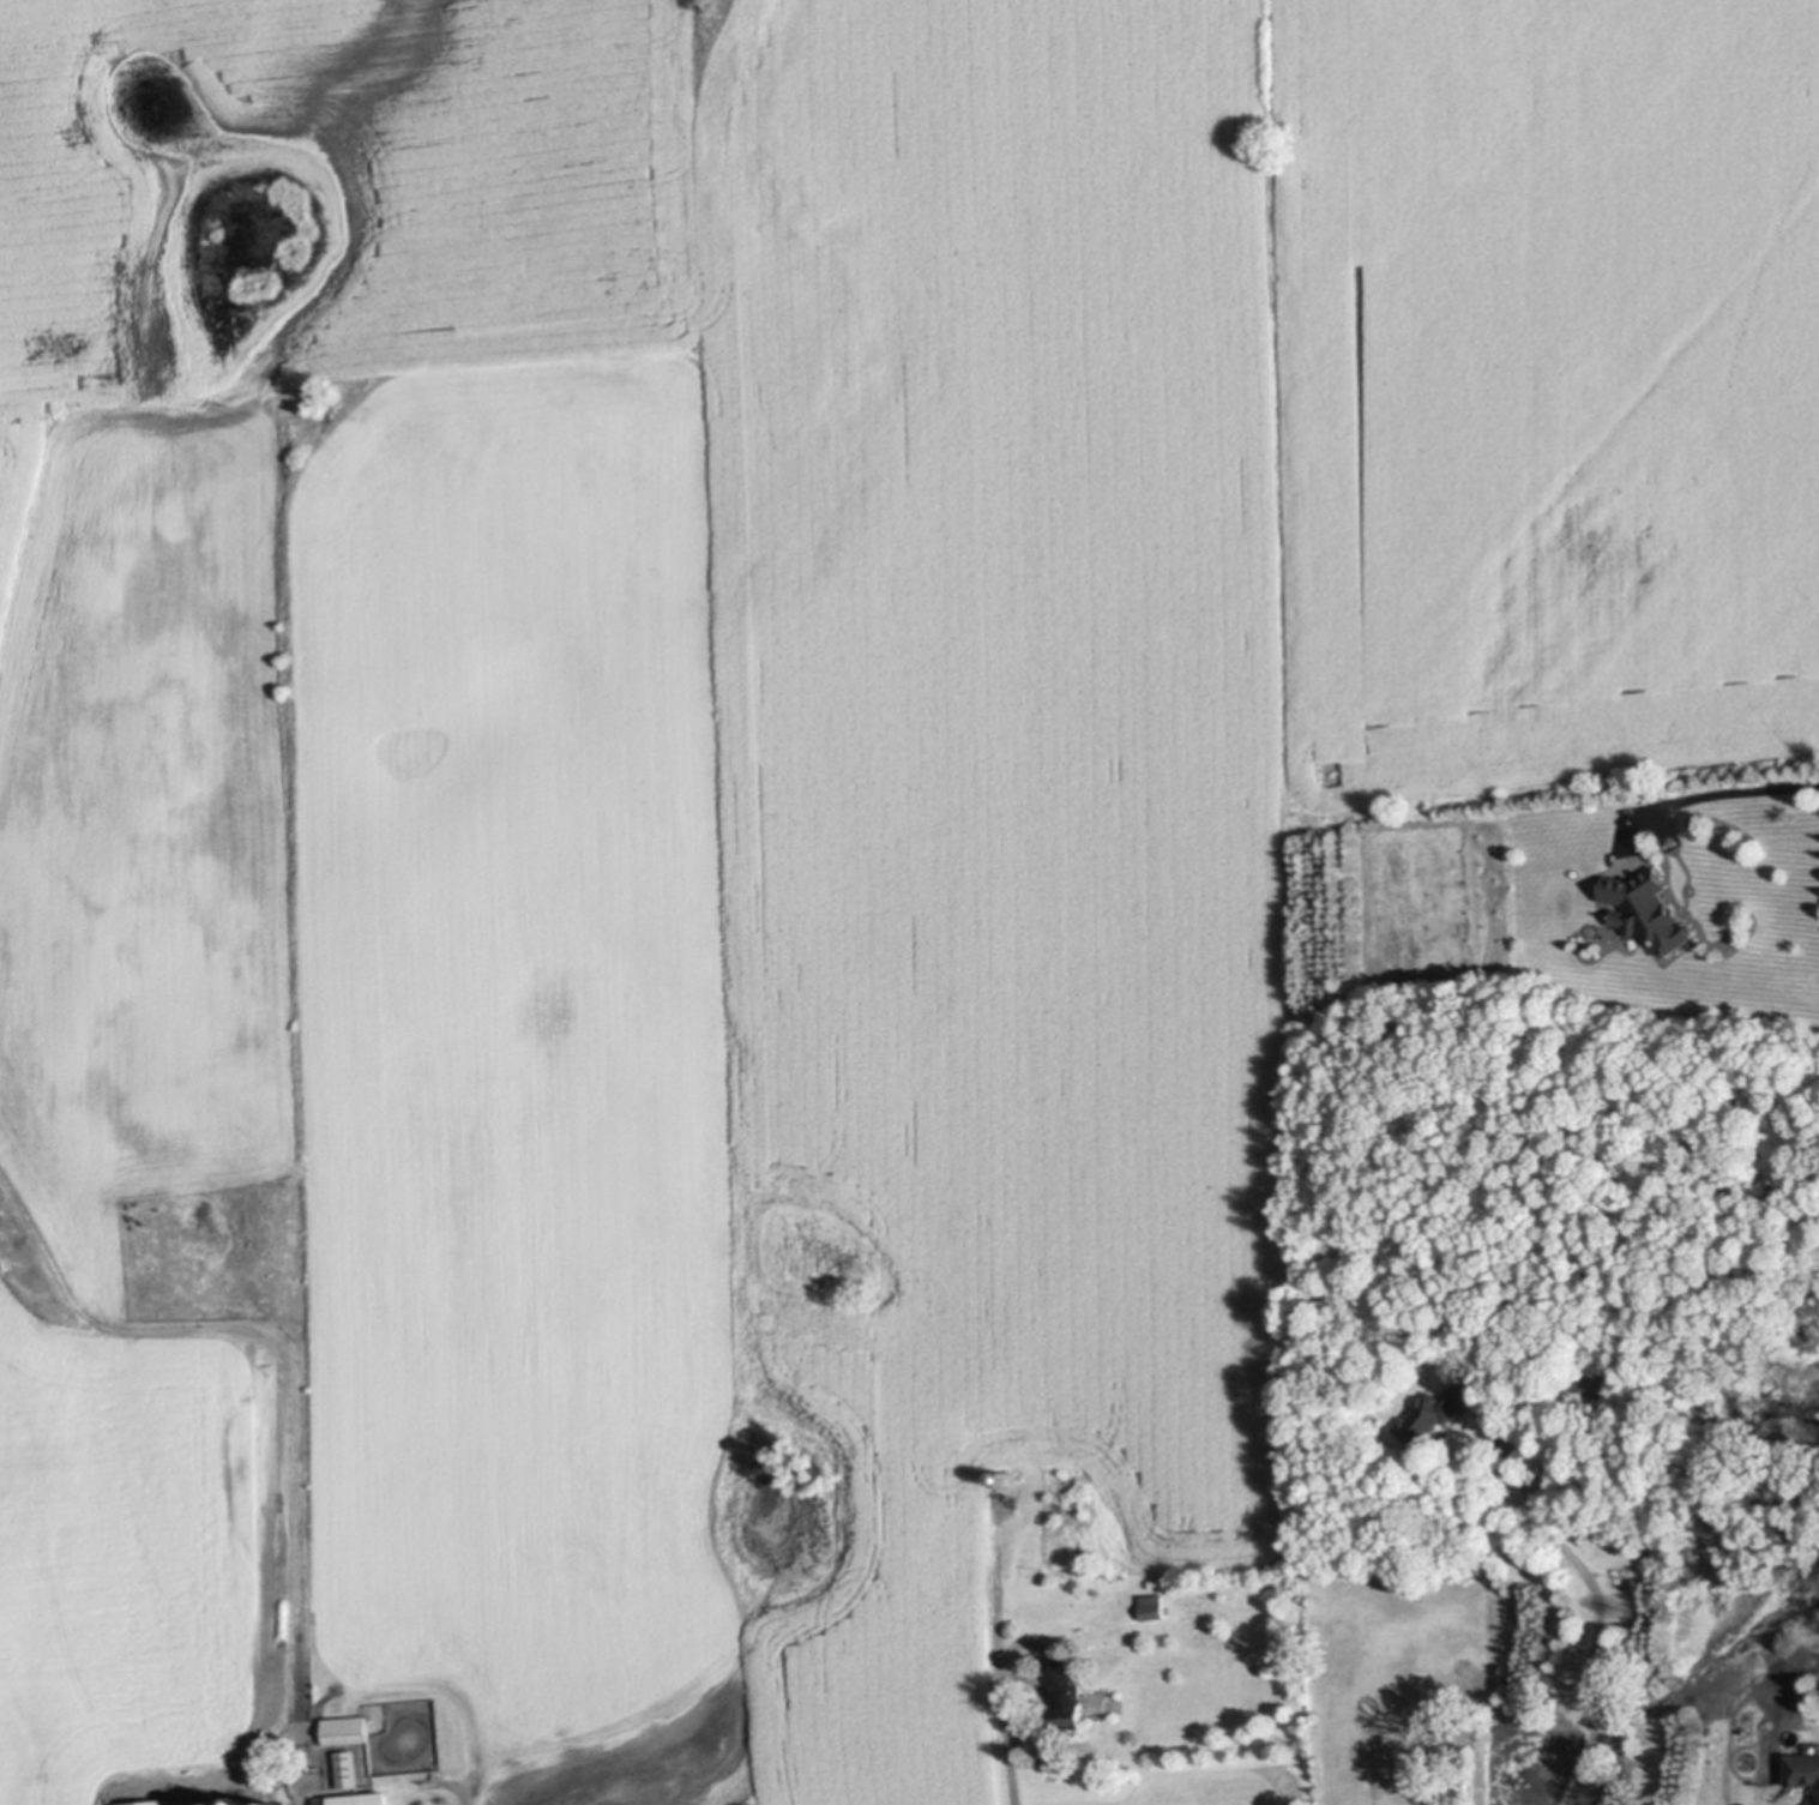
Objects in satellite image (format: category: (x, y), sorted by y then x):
road: (1722, 794)
building: (1650, 911)
building: (1592, 1379)
building: (1435, 1408)
building: (1157, 1581)
road: (1598, 1605)
building: (1155, 1606)
building: (1070, 1698)
building: (347, 1729)
road: (1010, 1741)
building: (349, 1765)
building: (1803, 1765)
building: (357, 1798)
building: (222, 1801)
building: (150, 1803)
building: (246, 1803)
building: (276, 1803)

